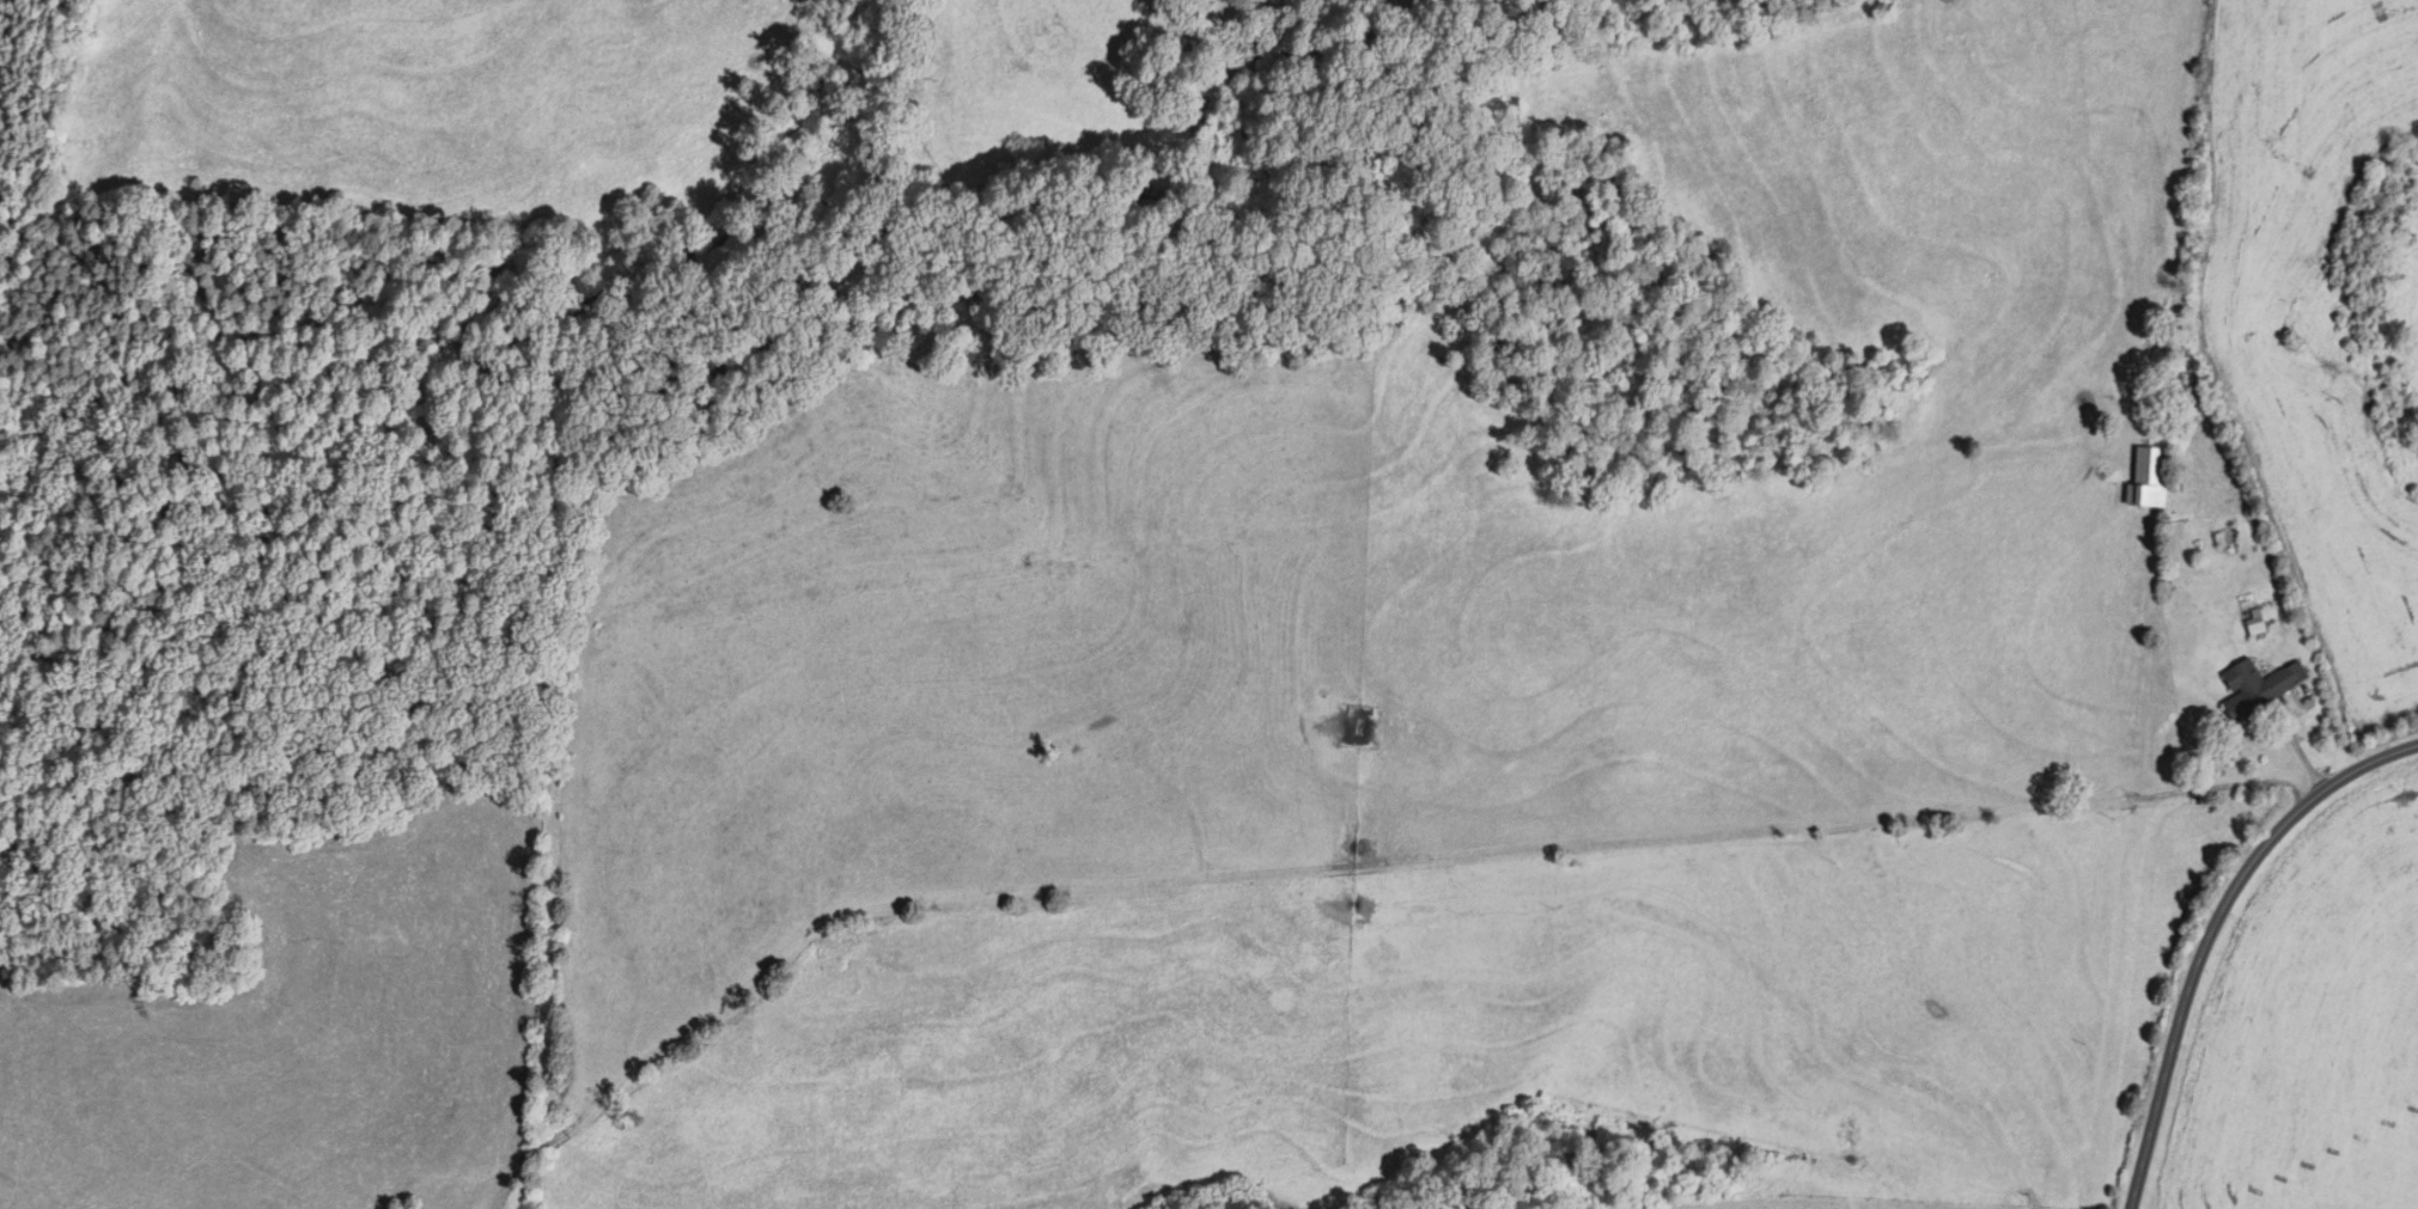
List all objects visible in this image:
building: (2255, 621)
building: (2260, 686)
road: (1601, 836)
road: (2209, 927)

